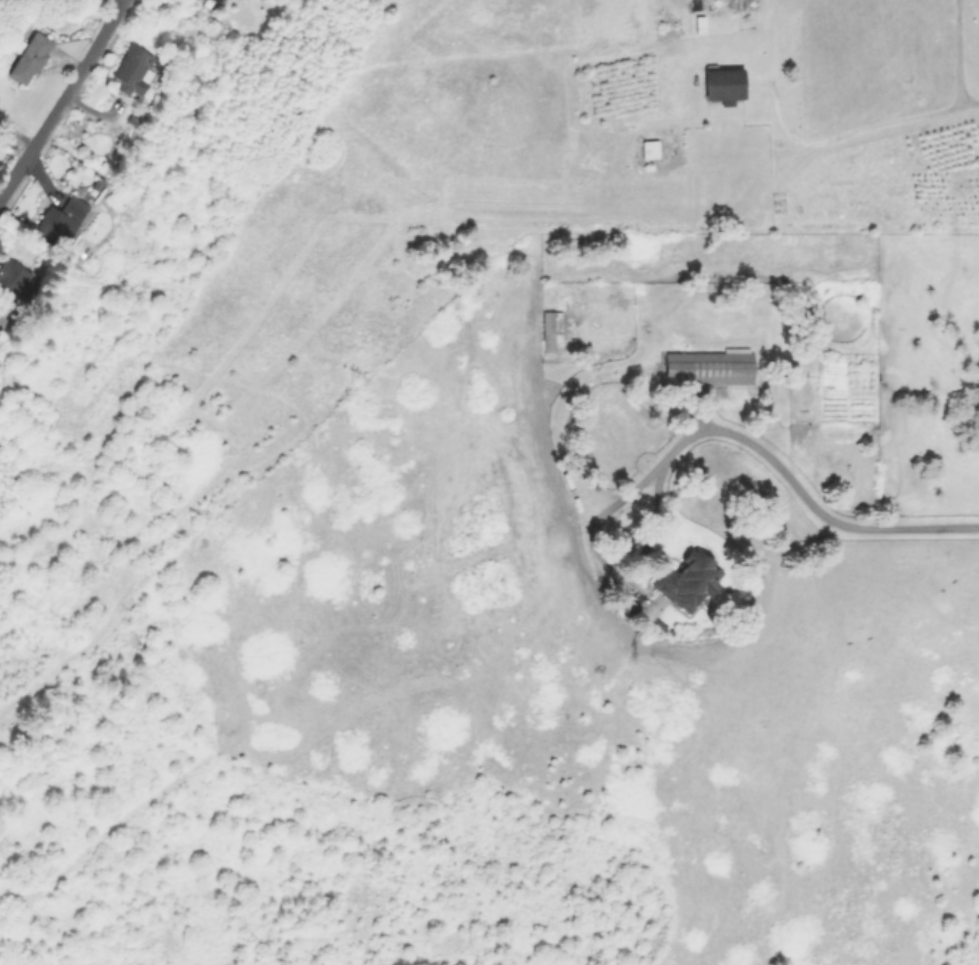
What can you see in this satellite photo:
building: (200, 0)
building: (217, 2)
building: (701, 22)
building: (29, 57)
building: (134, 70)
building: (724, 84)
road: (63, 104)
road: (845, 135)
building: (648, 149)
building: (63, 221)
building: (20, 280)
building: (549, 330)
building: (709, 369)
road: (775, 467)
building: (688, 581)

